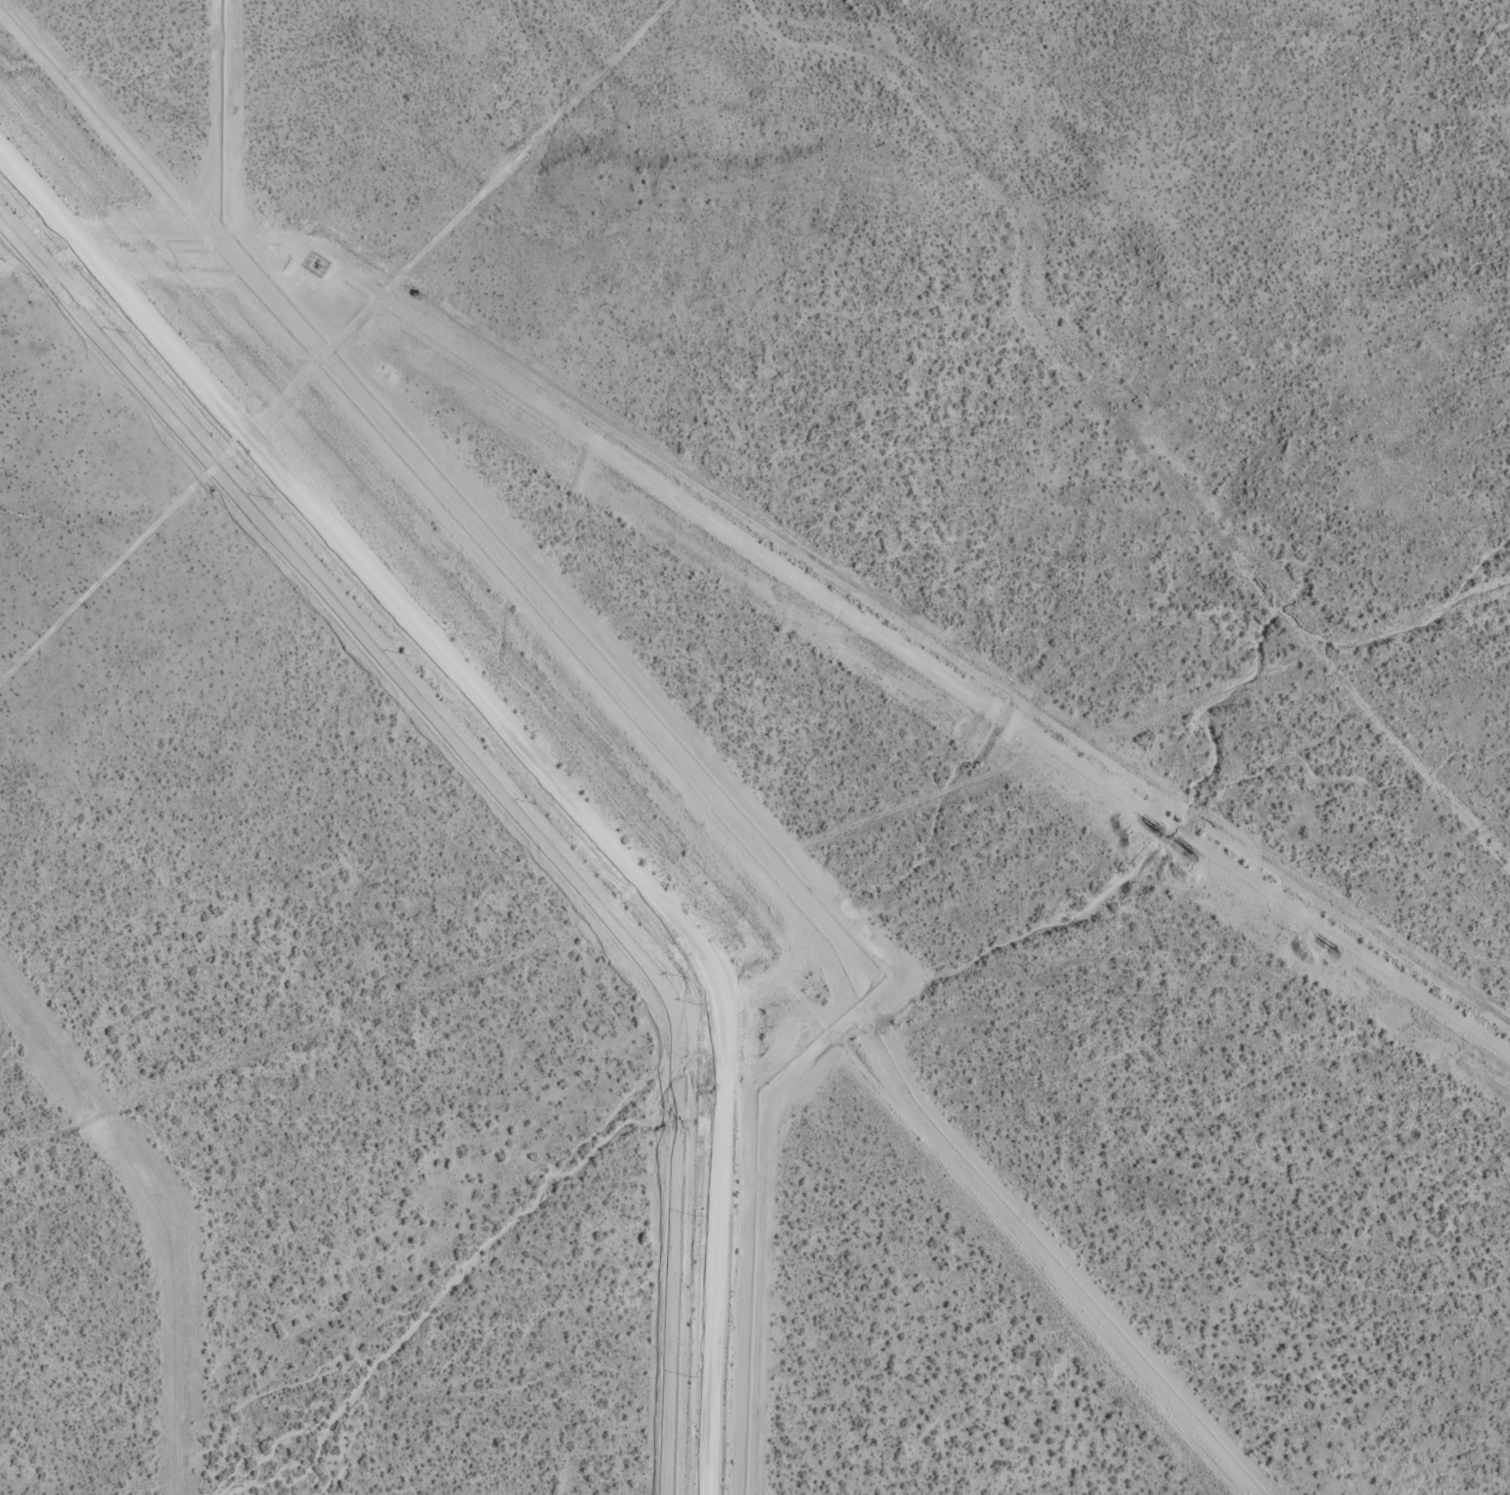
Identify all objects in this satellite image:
road: (541, 751)

